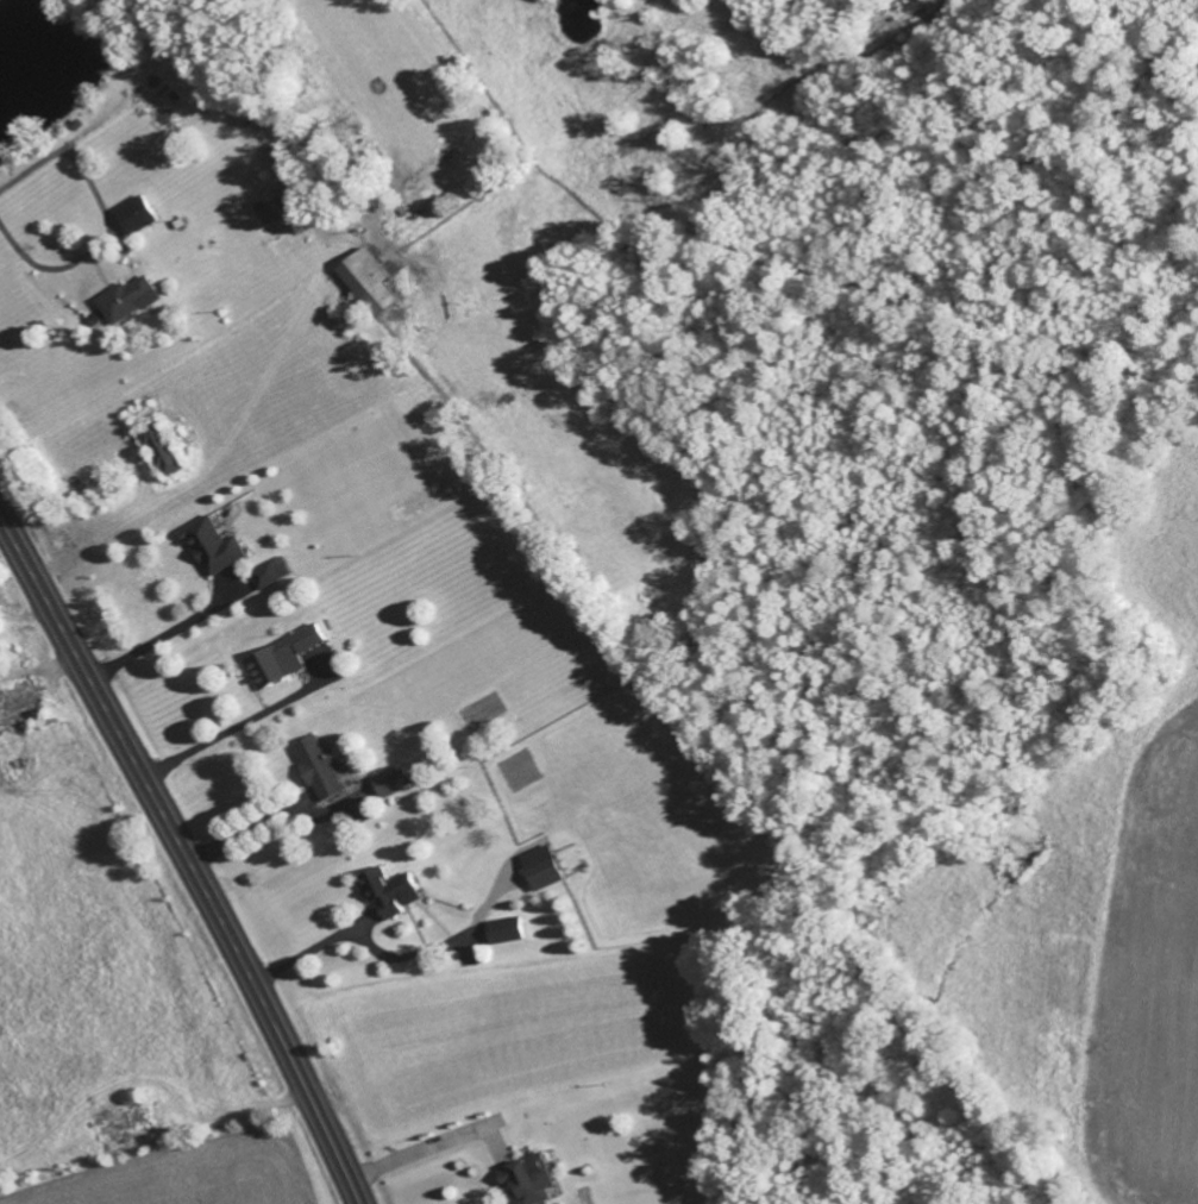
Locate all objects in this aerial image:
building: (143, 214)
building: (383, 283)
building: (136, 300)
building: (173, 449)
building: (225, 545)
building: (280, 572)
road: (164, 638)
building: (291, 657)
road: (40, 672)
building: (26, 703)
road: (226, 735)
building: (432, 760)
building: (328, 766)
road: (0, 779)
building: (401, 779)
road: (249, 834)
road: (187, 857)
building: (551, 866)
building: (399, 891)
building: (514, 929)
road: (446, 945)
road: (314, 951)
building: (139, 1128)
road: (435, 1145)
building: (542, 1179)

